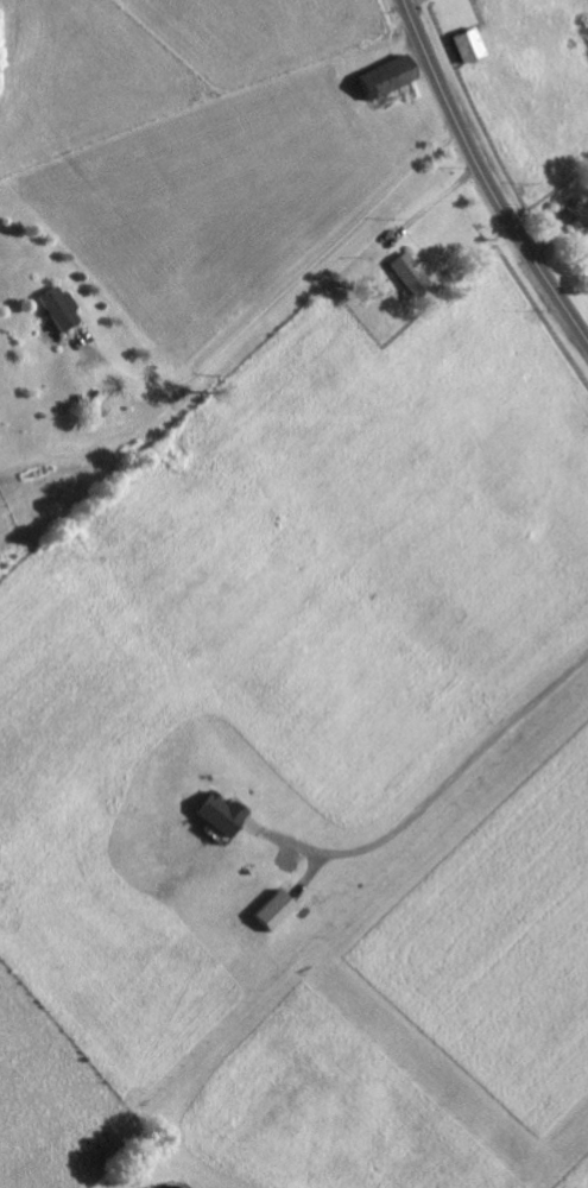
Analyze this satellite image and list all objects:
building: (388, 76)
road: (483, 177)
building: (407, 270)
building: (59, 305)
road: (438, 801)
building: (221, 809)

